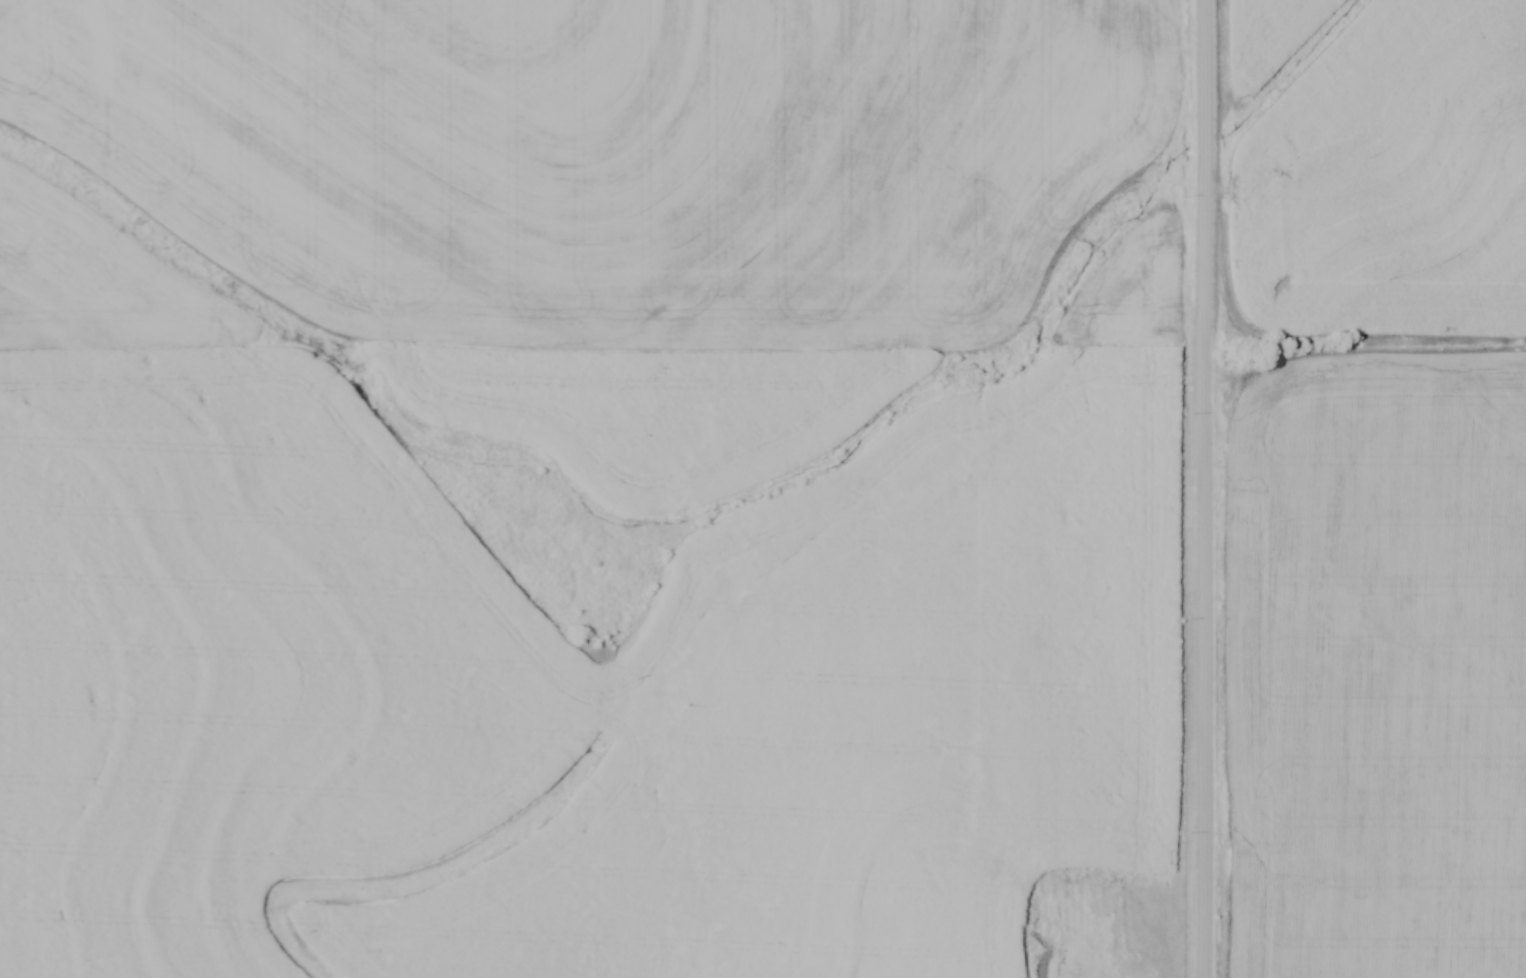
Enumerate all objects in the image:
road: (1204, 489)

